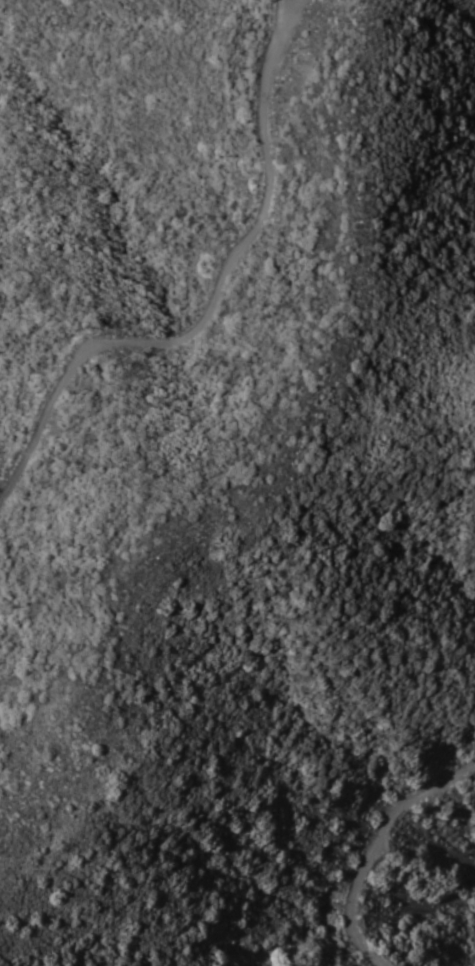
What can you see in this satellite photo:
road: (213, 297)
road: (373, 845)

